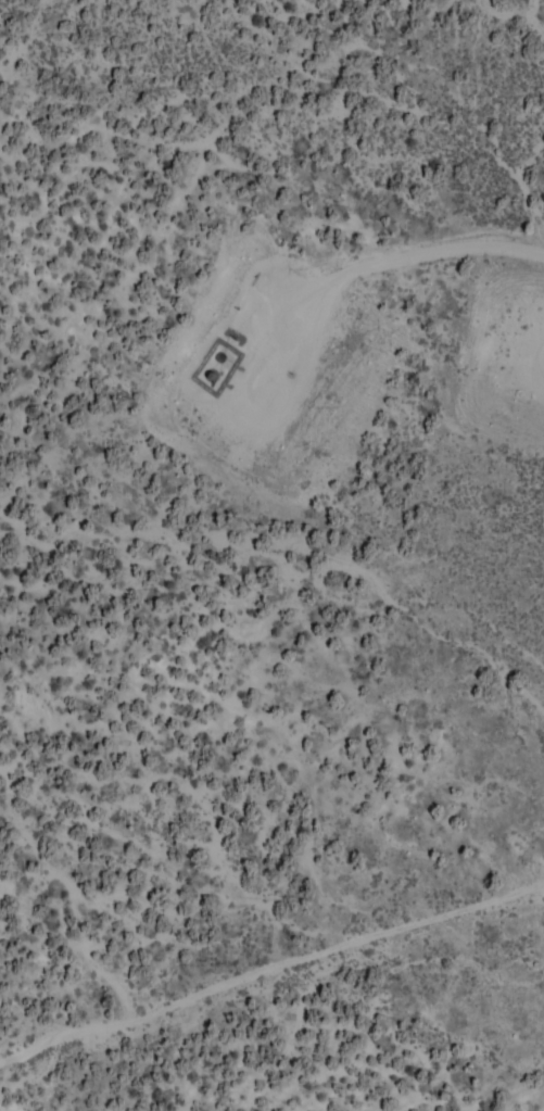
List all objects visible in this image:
road: (269, 970)

